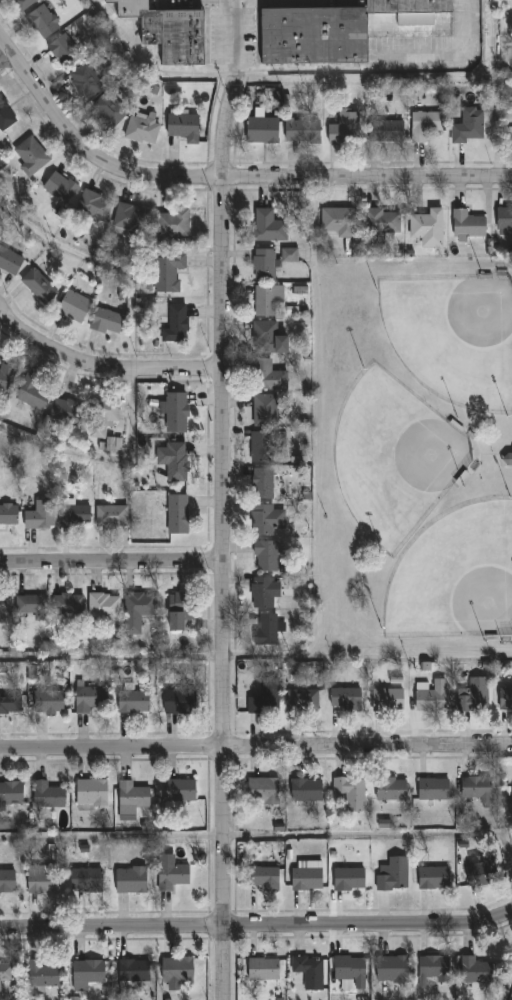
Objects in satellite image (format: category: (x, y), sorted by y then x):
building: (23, 3)
building: (409, 18)
building: (42, 20)
parking lot: (239, 24)
building: (170, 30)
building: (314, 35)
building: (62, 49)
road: (6, 60)
road: (149, 66)
road: (381, 68)
building: (85, 81)
road: (228, 90)
building: (107, 110)
building: (5, 117)
building: (424, 125)
building: (468, 126)
building: (183, 128)
building: (344, 128)
building: (141, 129)
building: (261, 130)
building: (301, 130)
building: (384, 131)
building: (29, 156)
road: (223, 179)
building: (58, 187)
building: (93, 206)
building: (129, 219)
building: (504, 219)
building: (337, 221)
building: (379, 221)
building: (172, 223)
building: (466, 225)
building: (267, 226)
building: (427, 228)
building: (288, 254)
building: (9, 261)
building: (263, 264)
building: (166, 271)
building: (38, 285)
building: (267, 300)
building: (73, 306)
building: (106, 321)
building: (175, 324)
building: (266, 338)
park: (454, 339)
road: (101, 369)
building: (266, 375)
building: (6, 376)
building: (32, 392)
building: (264, 410)
building: (66, 411)
building: (175, 411)
building: (101, 415)
building: (262, 446)
park: (394, 459)
park: (417, 460)
building: (507, 460)
building: (175, 462)
building: (261, 483)
building: (177, 514)
building: (8, 515)
building: (39, 515)
building: (74, 516)
building: (110, 516)
building: (266, 519)
building: (265, 555)
road: (112, 563)
road: (320, 573)
park: (456, 578)
road: (224, 589)
building: (261, 592)
building: (67, 603)
building: (30, 604)
building: (103, 605)
building: (4, 606)
building: (137, 609)
building: (179, 609)
building: (265, 629)
building: (32, 672)
building: (472, 696)
building: (265, 698)
building: (344, 699)
building: (430, 699)
building: (505, 699)
building: (86, 700)
building: (302, 701)
building: (386, 701)
building: (132, 702)
building: (180, 702)
building: (48, 703)
building: (10, 705)
road: (255, 749)
building: (390, 790)
building: (432, 790)
building: (474, 790)
building: (305, 791)
building: (262, 792)
building: (178, 793)
building: (350, 793)
building: (11, 794)
building: (91, 794)
building: (47, 796)
building: (131, 796)
building: (384, 824)
road: (387, 834)
road: (112, 836)
building: (480, 874)
building: (391, 875)
building: (172, 877)
building: (262, 879)
building: (306, 879)
building: (433, 879)
building: (347, 880)
building: (86, 881)
building: (130, 881)
building: (7, 882)
building: (42, 883)
road: (257, 926)
building: (433, 968)
building: (391, 970)
building: (176, 971)
building: (262, 971)
building: (474, 971)
building: (7, 972)
building: (132, 972)
building: (87, 973)
building: (349, 973)
building: (307, 974)
building: (38, 975)

